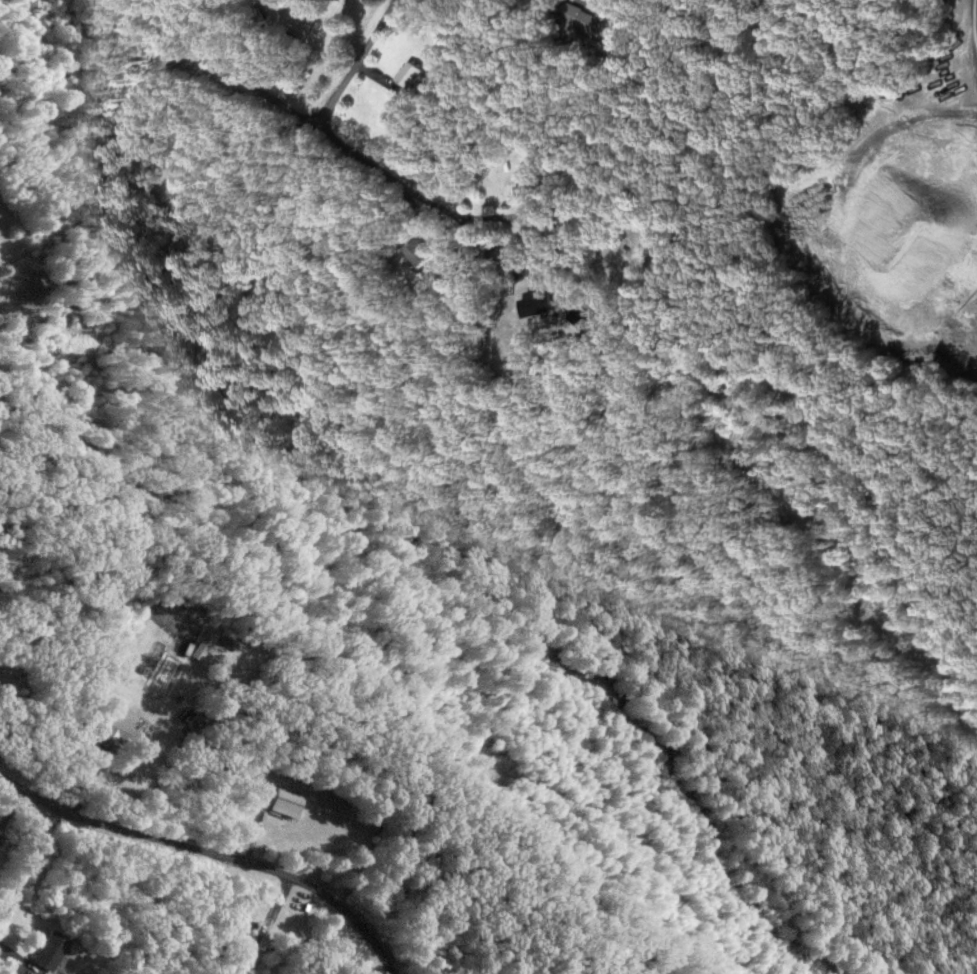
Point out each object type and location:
building: (333, 0)
road: (972, 6)
road: (974, 21)
building: (591, 25)
road: (354, 64)
building: (412, 75)
road: (305, 123)
building: (532, 188)
building: (421, 253)
building: (287, 802)
road: (211, 853)
road: (25, 859)
building: (231, 939)
building: (53, 948)

